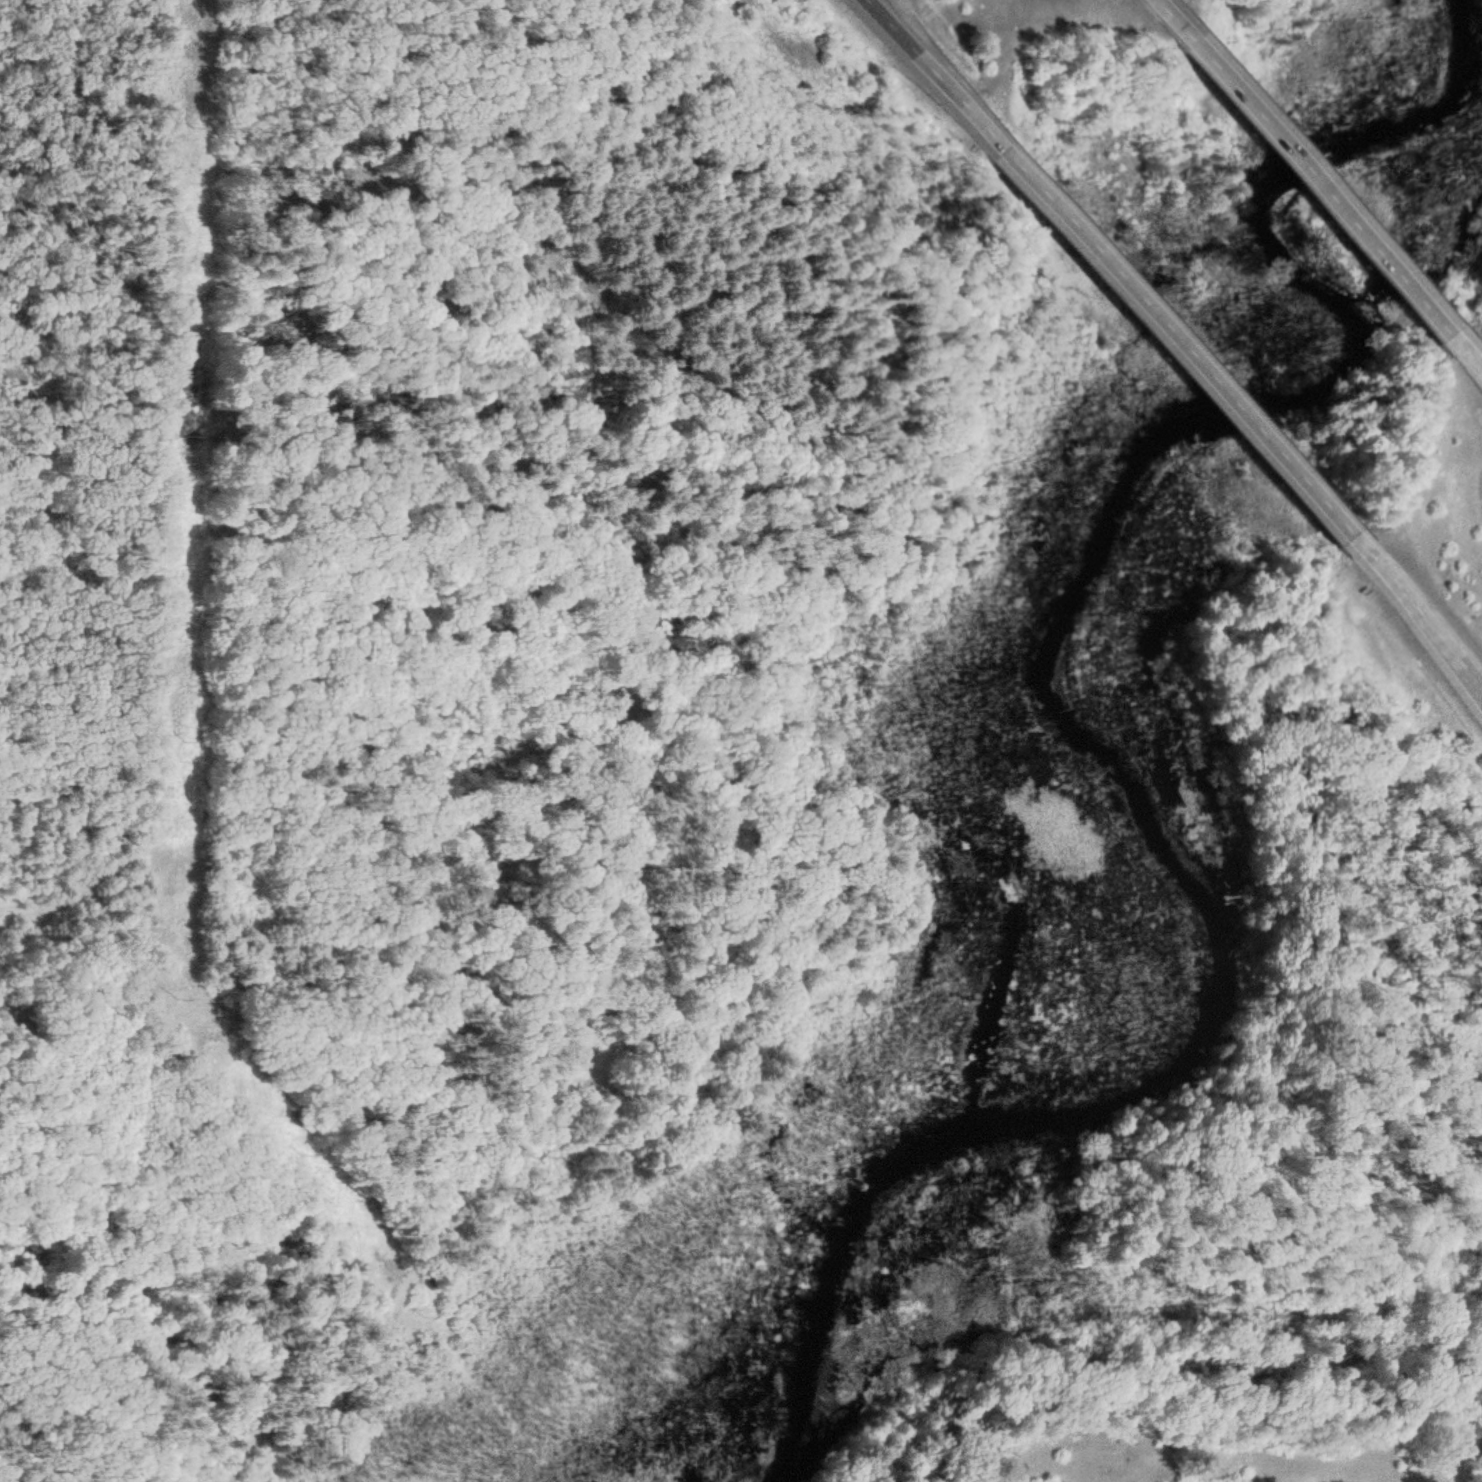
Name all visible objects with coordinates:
road: (883, 5)
road: (1325, 173)
road: (1157, 308)
road: (1451, 651)
road: (1477, 688)
river: (1064, 722)
road: (1267, 1436)

